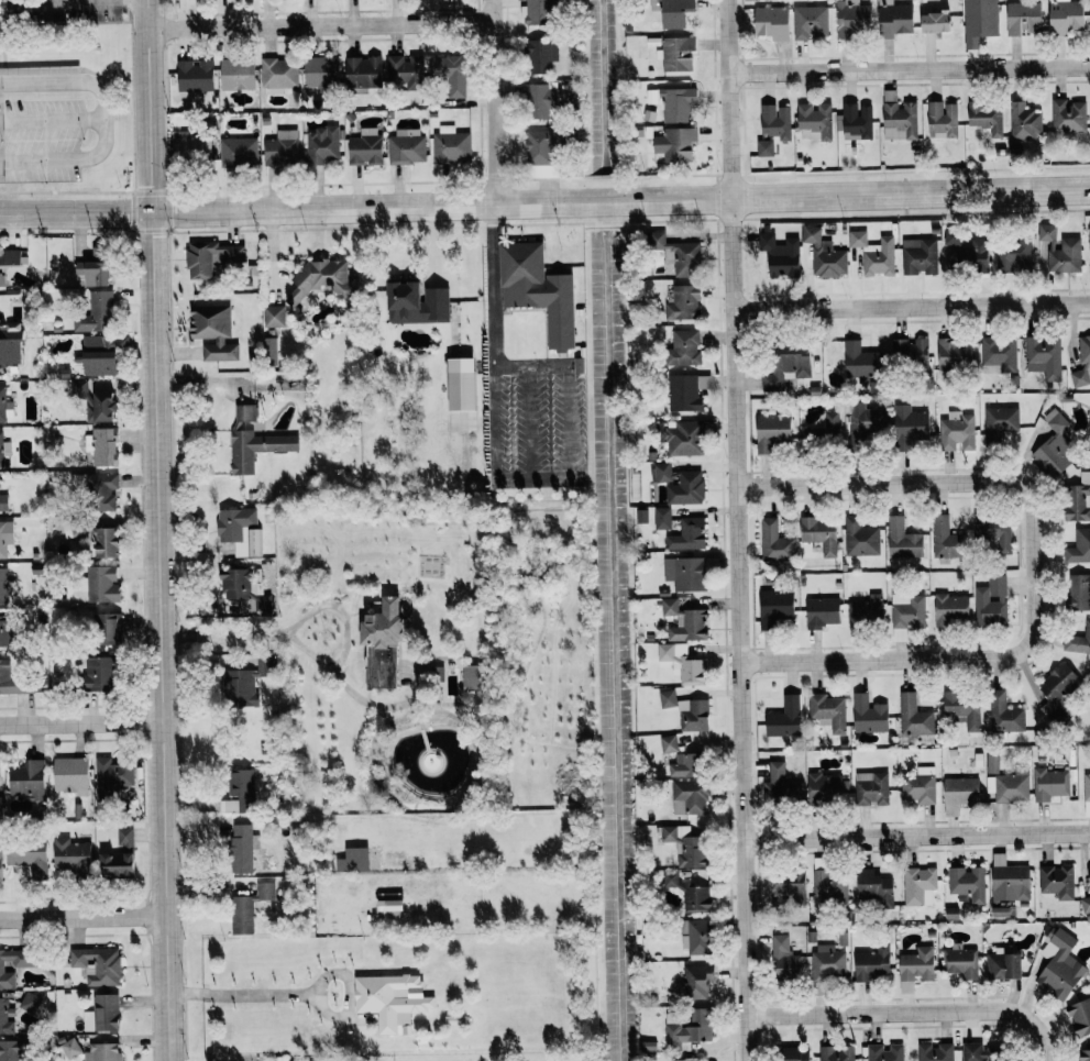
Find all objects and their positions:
road: (35, 1)
building: (539, 12)
building: (674, 13)
building: (1066, 16)
building: (852, 18)
building: (1023, 18)
building: (894, 19)
building: (979, 21)
building: (810, 22)
building: (936, 22)
road: (320, 23)
building: (772, 23)
building: (675, 54)
building: (540, 56)
road: (909, 66)
building: (404, 68)
building: (320, 71)
building: (363, 73)
building: (278, 74)
building: (449, 74)
building: (236, 75)
building: (194, 78)
road: (491, 101)
building: (539, 101)
building: (672, 102)
road: (47, 117)
building: (899, 117)
building: (1068, 117)
building: (986, 118)
road: (102, 119)
building: (942, 120)
building: (775, 121)
building: (855, 122)
building: (1024, 122)
building: (679, 144)
building: (321, 145)
building: (450, 145)
building: (405, 146)
building: (543, 146)
building: (364, 147)
building: (764, 147)
building: (190, 148)
building: (282, 148)
building: (238, 153)
building: (542, 170)
road: (544, 201)
building: (1089, 233)
building: (1060, 251)
building: (965, 253)
building: (873, 254)
building: (676, 255)
building: (780, 255)
building: (824, 255)
building: (1013, 255)
building: (918, 256)
building: (9, 257)
building: (211, 257)
building: (93, 268)
building: (318, 279)
building: (1, 280)
road: (493, 285)
building: (537, 290)
building: (416, 303)
building: (683, 303)
road: (911, 306)
building: (96, 313)
building: (273, 317)
building: (212, 332)
building: (103, 342)
building: (10, 344)
building: (683, 349)
building: (910, 353)
building: (954, 354)
building: (998, 354)
building: (1044, 357)
building: (859, 362)
building: (1082, 363)
building: (99, 364)
road: (530, 366)
building: (785, 367)
building: (461, 385)
building: (683, 394)
building: (5, 407)
building: (861, 421)
road: (568, 422)
building: (999, 422)
road: (493, 424)
building: (909, 425)
building: (825, 429)
building: (771, 432)
building: (956, 432)
building: (684, 439)
building: (253, 440)
building: (101, 446)
building: (1054, 446)
building: (3, 449)
road: (530, 480)
road: (921, 482)
building: (680, 485)
building: (102, 489)
building: (1077, 499)
building: (3, 502)
building: (662, 518)
road: (161, 530)
building: (239, 530)
road: (736, 530)
building: (994, 530)
building: (819, 533)
building: (687, 534)
building: (4, 535)
building: (860, 537)
building: (944, 537)
building: (902, 539)
building: (104, 541)
building: (774, 541)
building: (1079, 546)
building: (685, 573)
building: (101, 584)
building: (2, 585)
building: (243, 590)
building: (1078, 592)
building: (991, 601)
building: (774, 607)
building: (951, 609)
building: (907, 610)
building: (822, 611)
building: (865, 611)
building: (683, 620)
building: (106, 628)
building: (1, 629)
building: (1078, 641)
building: (381, 644)
road: (310, 653)
road: (925, 657)
building: (682, 662)
building: (99, 673)
building: (242, 679)
building: (13, 681)
building: (437, 681)
building: (1058, 692)
building: (667, 698)
building: (962, 708)
building: (827, 711)
building: (1004, 714)
building: (868, 715)
building: (694, 716)
building: (913, 716)
building: (784, 718)
road: (82, 722)
building: (668, 743)
building: (992, 761)
building: (685, 765)
building: (69, 774)
building: (112, 774)
building: (26, 780)
building: (240, 782)
building: (1049, 783)
building: (779, 784)
building: (824, 785)
building: (918, 785)
building: (1009, 785)
building: (870, 788)
building: (960, 791)
building: (689, 797)
building: (0, 799)
road: (915, 836)
building: (684, 844)
building: (240, 848)
building: (69, 853)
building: (27, 855)
building: (119, 856)
building: (352, 860)
building: (0, 862)
building: (670, 878)
building: (1056, 881)
building: (967, 883)
building: (1010, 883)
building: (790, 885)
building: (918, 885)
building: (828, 886)
building: (874, 887)
building: (696, 898)
building: (1086, 900)
building: (388, 905)
building: (247, 907)
building: (1000, 911)
road: (84, 921)
building: (696, 937)
building: (784, 958)
building: (959, 961)
building: (827, 962)
building: (14, 963)
building: (872, 963)
building: (916, 964)
building: (1059, 964)
building: (97, 965)
building: (1003, 965)
building: (697, 981)
road: (244, 994)
road: (348, 994)
building: (388, 998)
building: (29, 1001)
road: (910, 1012)
building: (101, 1014)
building: (1080, 1017)
building: (4, 1018)
building: (686, 1027)
building: (68, 1048)
building: (11, 1050)
building: (101, 1052)
building: (884, 1052)
building: (934, 1052)
building: (982, 1052)
building: (792, 1053)
building: (836, 1053)
building: (1083, 1054)
building: (685, 1059)

